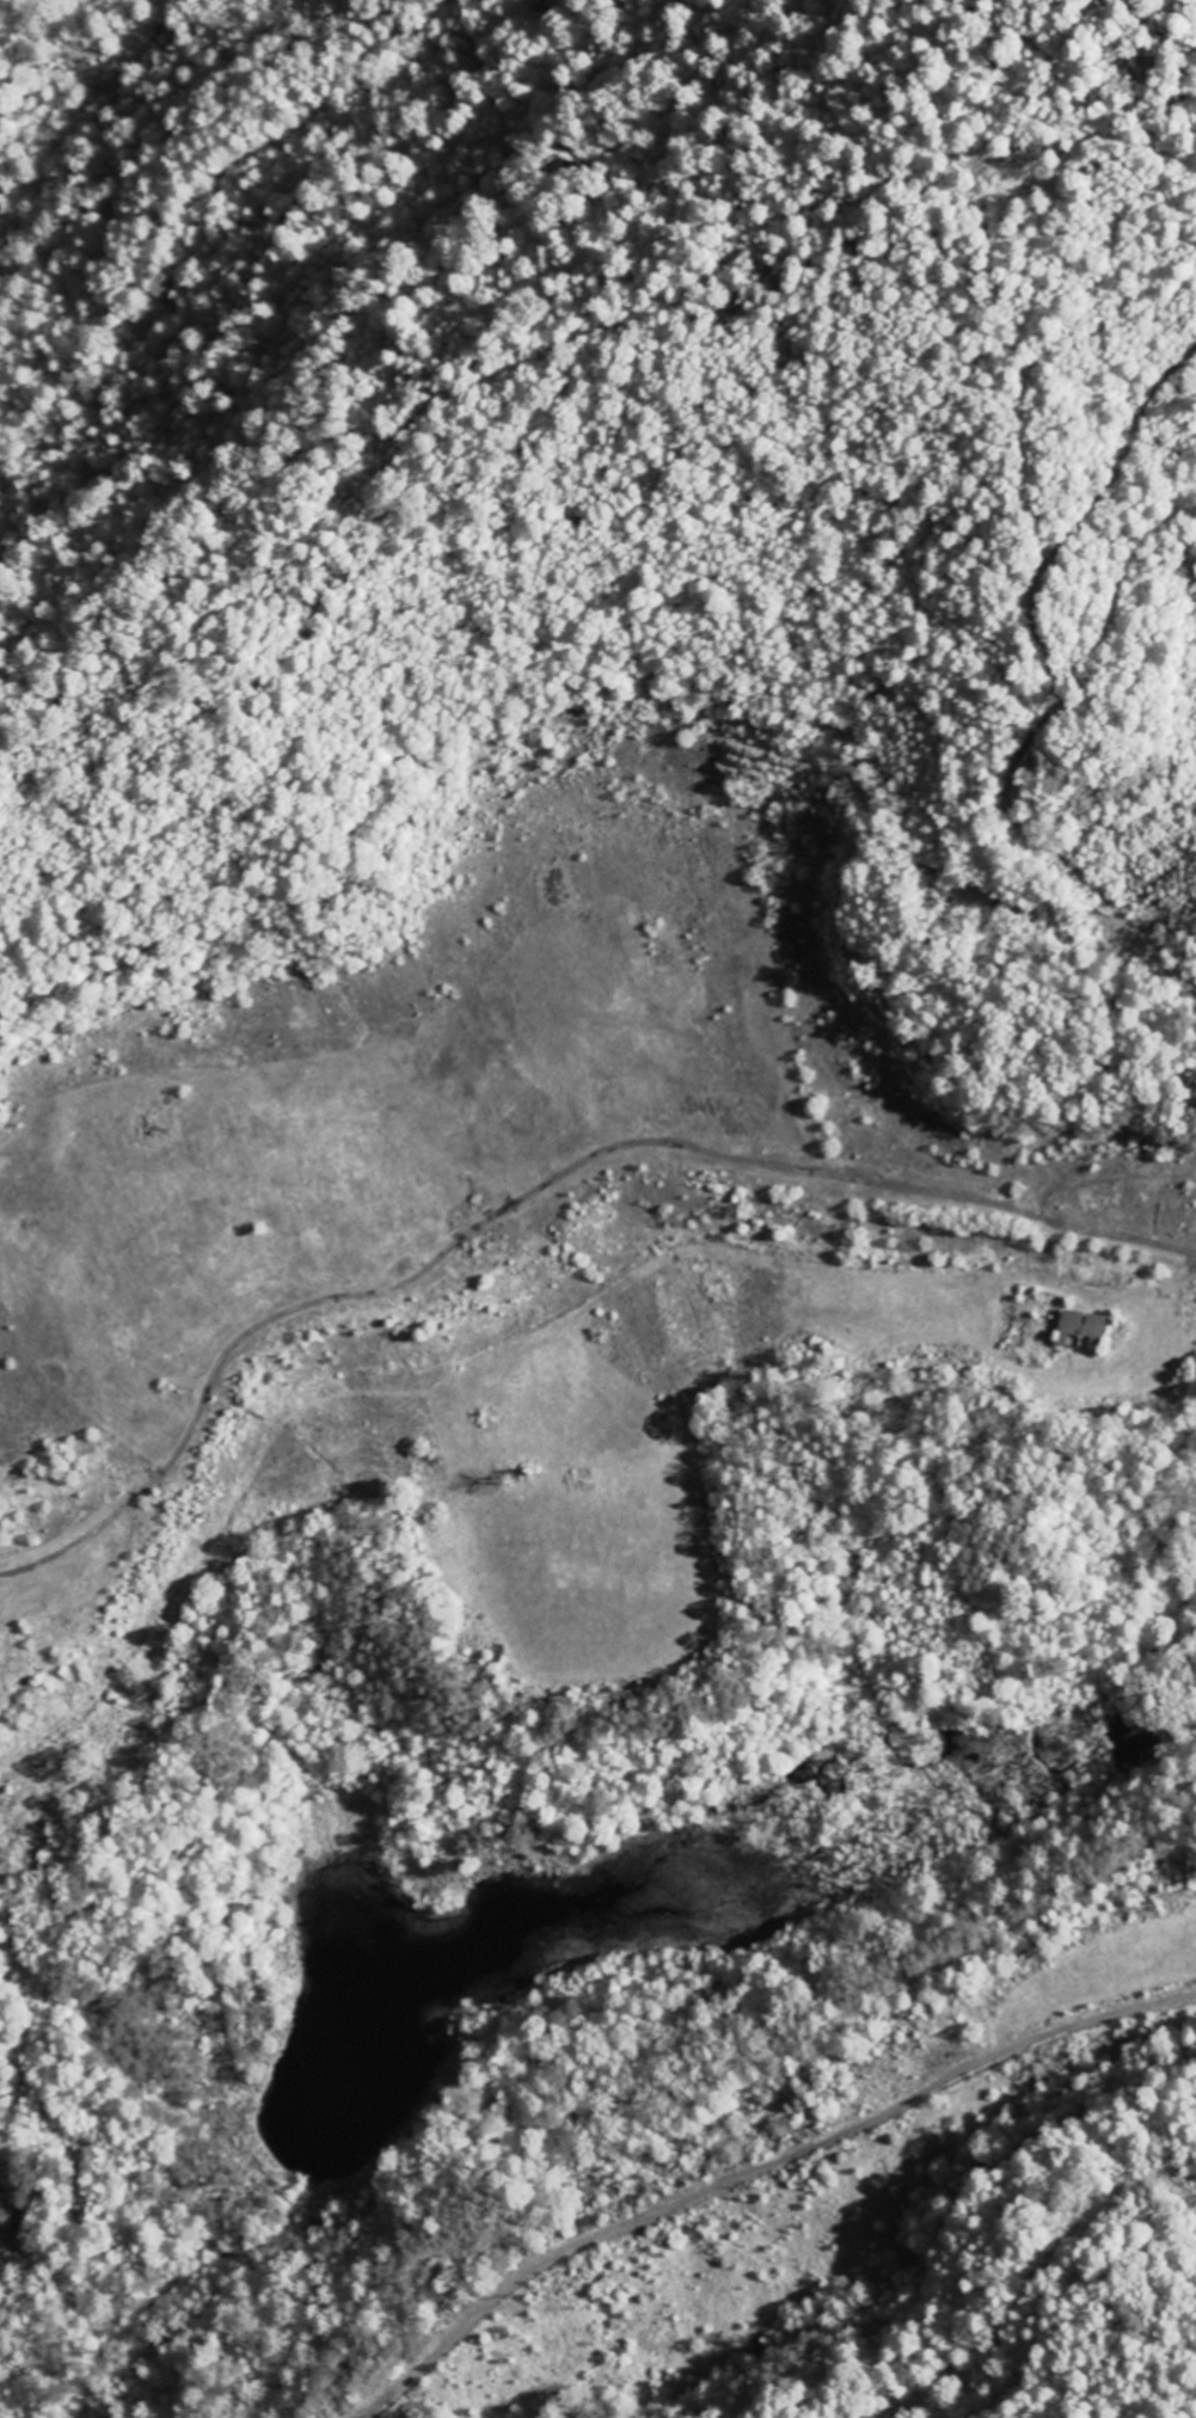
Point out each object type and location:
building: (1085, 1327)

